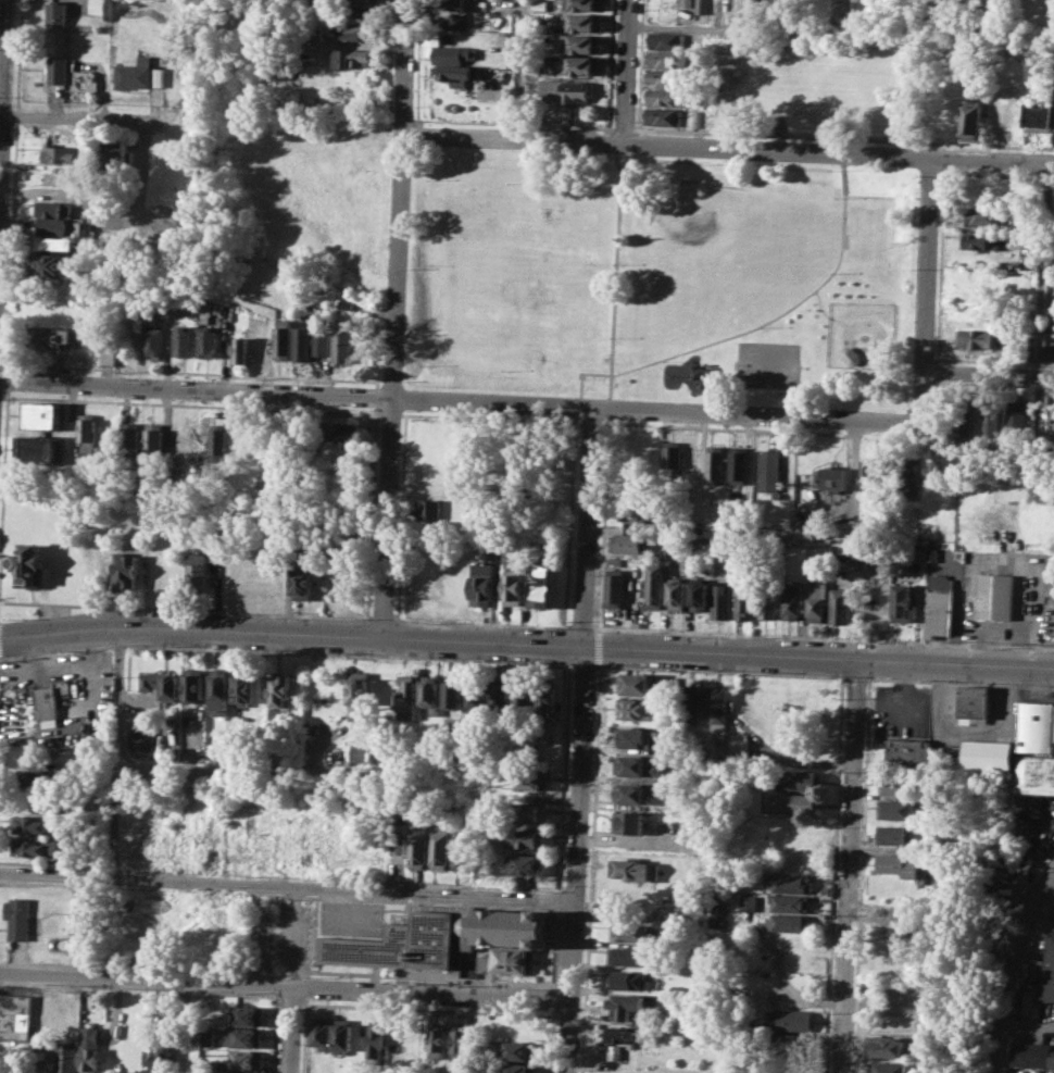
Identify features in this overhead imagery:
building: (361, 1)
building: (686, 2)
building: (457, 3)
building: (582, 4)
building: (97, 7)
building: (702, 7)
building: (54, 13)
building: (362, 13)
building: (459, 20)
building: (582, 21)
building: (341, 29)
building: (360, 32)
road: (389, 33)
road: (840, 36)
building: (669, 39)
building: (582, 42)
road: (1, 46)
building: (455, 52)
road: (16, 55)
building: (350, 57)
building: (168, 58)
building: (668, 60)
road: (639, 63)
building: (585, 64)
road: (610, 66)
building: (57, 68)
road: (519, 70)
road: (626, 72)
building: (138, 73)
building: (461, 74)
building: (667, 78)
building: (564, 90)
building: (666, 97)
building: (1007, 114)
building: (1039, 115)
road: (15, 116)
building: (665, 116)
road: (455, 120)
building: (971, 120)
road: (76, 121)
road: (624, 128)
road: (637, 130)
road: (843, 137)
road: (611, 141)
road: (631, 142)
road: (727, 149)
building: (60, 153)
building: (113, 157)
road: (616, 162)
road: (399, 198)
building: (51, 214)
building: (982, 215)
park: (692, 220)
road: (842, 227)
building: (980, 240)
building: (57, 242)
road: (10, 245)
road: (614, 262)
building: (54, 263)
road: (939, 269)
road: (1042, 270)
park: (662, 278)
park: (544, 285)
road: (926, 290)
road: (808, 294)
building: (344, 303)
road: (826, 313)
road: (768, 321)
building: (50, 335)
building: (978, 337)
building: (279, 339)
building: (301, 339)
building: (150, 340)
building: (178, 340)
building: (203, 341)
building: (341, 341)
building: (321, 345)
building: (237, 351)
building: (1049, 352)
road: (669, 355)
building: (104, 357)
park: (768, 364)
road: (191, 372)
road: (584, 372)
road: (988, 373)
road: (4, 377)
road: (608, 385)
road: (902, 389)
road: (375, 396)
road: (456, 399)
road: (190, 403)
road: (576, 406)
road: (606, 408)
road: (390, 413)
building: (38, 414)
building: (1017, 416)
road: (492, 417)
road: (589, 422)
road: (757, 429)
building: (341, 431)
building: (85, 432)
building: (963, 432)
building: (150, 439)
building: (126, 444)
road: (2, 450)
building: (35, 450)
building: (670, 456)
building: (652, 460)
building: (691, 462)
building: (714, 464)
building: (738, 464)
building: (768, 469)
building: (869, 473)
building: (902, 473)
building: (829, 479)
building: (437, 484)
building: (429, 508)
road: (369, 511)
road: (401, 513)
building: (632, 515)
road: (387, 519)
road: (567, 521)
road: (602, 524)
building: (628, 541)
building: (845, 551)
building: (26, 563)
building: (124, 571)
building: (197, 572)
building: (613, 582)
building: (303, 583)
building: (484, 584)
building: (541, 584)
building: (653, 584)
building: (514, 586)
building: (632, 587)
building: (677, 595)
building: (699, 595)
building: (994, 596)
building: (720, 600)
building: (791, 601)
building: (743, 602)
building: (767, 602)
building: (815, 602)
building: (903, 602)
building: (839, 604)
building: (938, 607)
road: (186, 609)
road: (382, 619)
road: (480, 623)
road: (580, 627)
road: (823, 636)
road: (526, 646)
road: (598, 647)
road: (285, 651)
road: (582, 665)
road: (718, 671)
road: (853, 676)
road: (866, 676)
building: (160, 684)
building: (191, 684)
building: (636, 684)
building: (242, 689)
building: (218, 690)
building: (279, 690)
building: (359, 693)
building: (429, 693)
building: (452, 694)
building: (500, 694)
building: (476, 695)
building: (524, 695)
building: (545, 697)
building: (405, 698)
building: (49, 700)
building: (974, 700)
building: (689, 702)
building: (636, 708)
building: (717, 710)
building: (1036, 726)
building: (140, 737)
building: (637, 737)
road: (581, 739)
building: (739, 743)
building: (1053, 744)
building: (906, 752)
building: (359, 753)
road: (117, 754)
building: (986, 756)
building: (636, 764)
road: (231, 770)
building: (1034, 773)
building: (37, 778)
building: (532, 778)
building: (795, 779)
road: (864, 782)
building: (893, 785)
building: (633, 793)
building: (791, 802)
building: (896, 809)
building: (529, 812)
building: (630, 821)
building: (32, 824)
building: (891, 834)
building: (526, 838)
building: (398, 841)
building: (36, 846)
building: (440, 847)
building: (418, 848)
building: (463, 848)
building: (524, 864)
building: (895, 864)
road: (848, 865)
road: (589, 868)
building: (633, 869)
road: (832, 874)
building: (788, 883)
road: (288, 891)
building: (748, 902)
building: (789, 902)
building: (153, 903)
building: (693, 908)
road: (1044, 909)
building: (18, 916)
building: (76, 922)
building: (788, 922)
building: (503, 926)
building: (630, 931)
building: (399, 943)
building: (629, 956)
building: (507, 960)
road: (1011, 970)
building: (1046, 973)
building: (629, 980)
road: (290, 982)
road: (286, 987)
building: (626, 1005)
building: (249, 1014)
building: (15, 1015)
building: (795, 1020)
road: (1026, 1023)
building: (322, 1032)
building: (208, 1034)
building: (622, 1034)
building: (342, 1035)
building: (243, 1037)
building: (461, 1037)
building: (377, 1038)
building: (438, 1039)
building: (792, 1044)
building: (888, 1046)
building: (518, 1049)
building: (614, 1051)
building: (1032, 1053)
building: (66, 1058)
building: (89, 1058)
building: (247, 1059)
building: (161, 1061)
building: (518, 1068)
building: (888, 1068)
building: (238, 1072)
building: (610, 1072)

